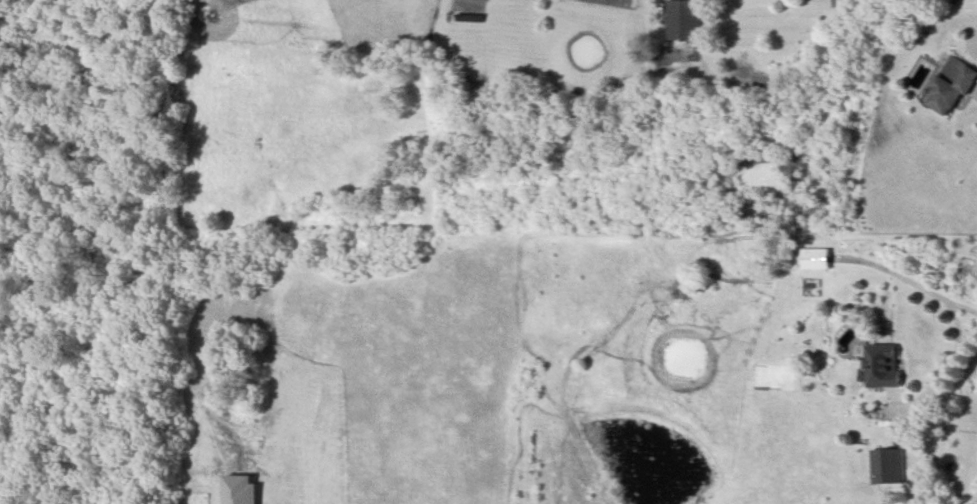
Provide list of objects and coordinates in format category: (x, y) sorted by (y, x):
building: (684, 20)
building: (952, 86)
building: (815, 259)
building: (882, 366)
road: (939, 376)
building: (887, 466)
building: (241, 490)

